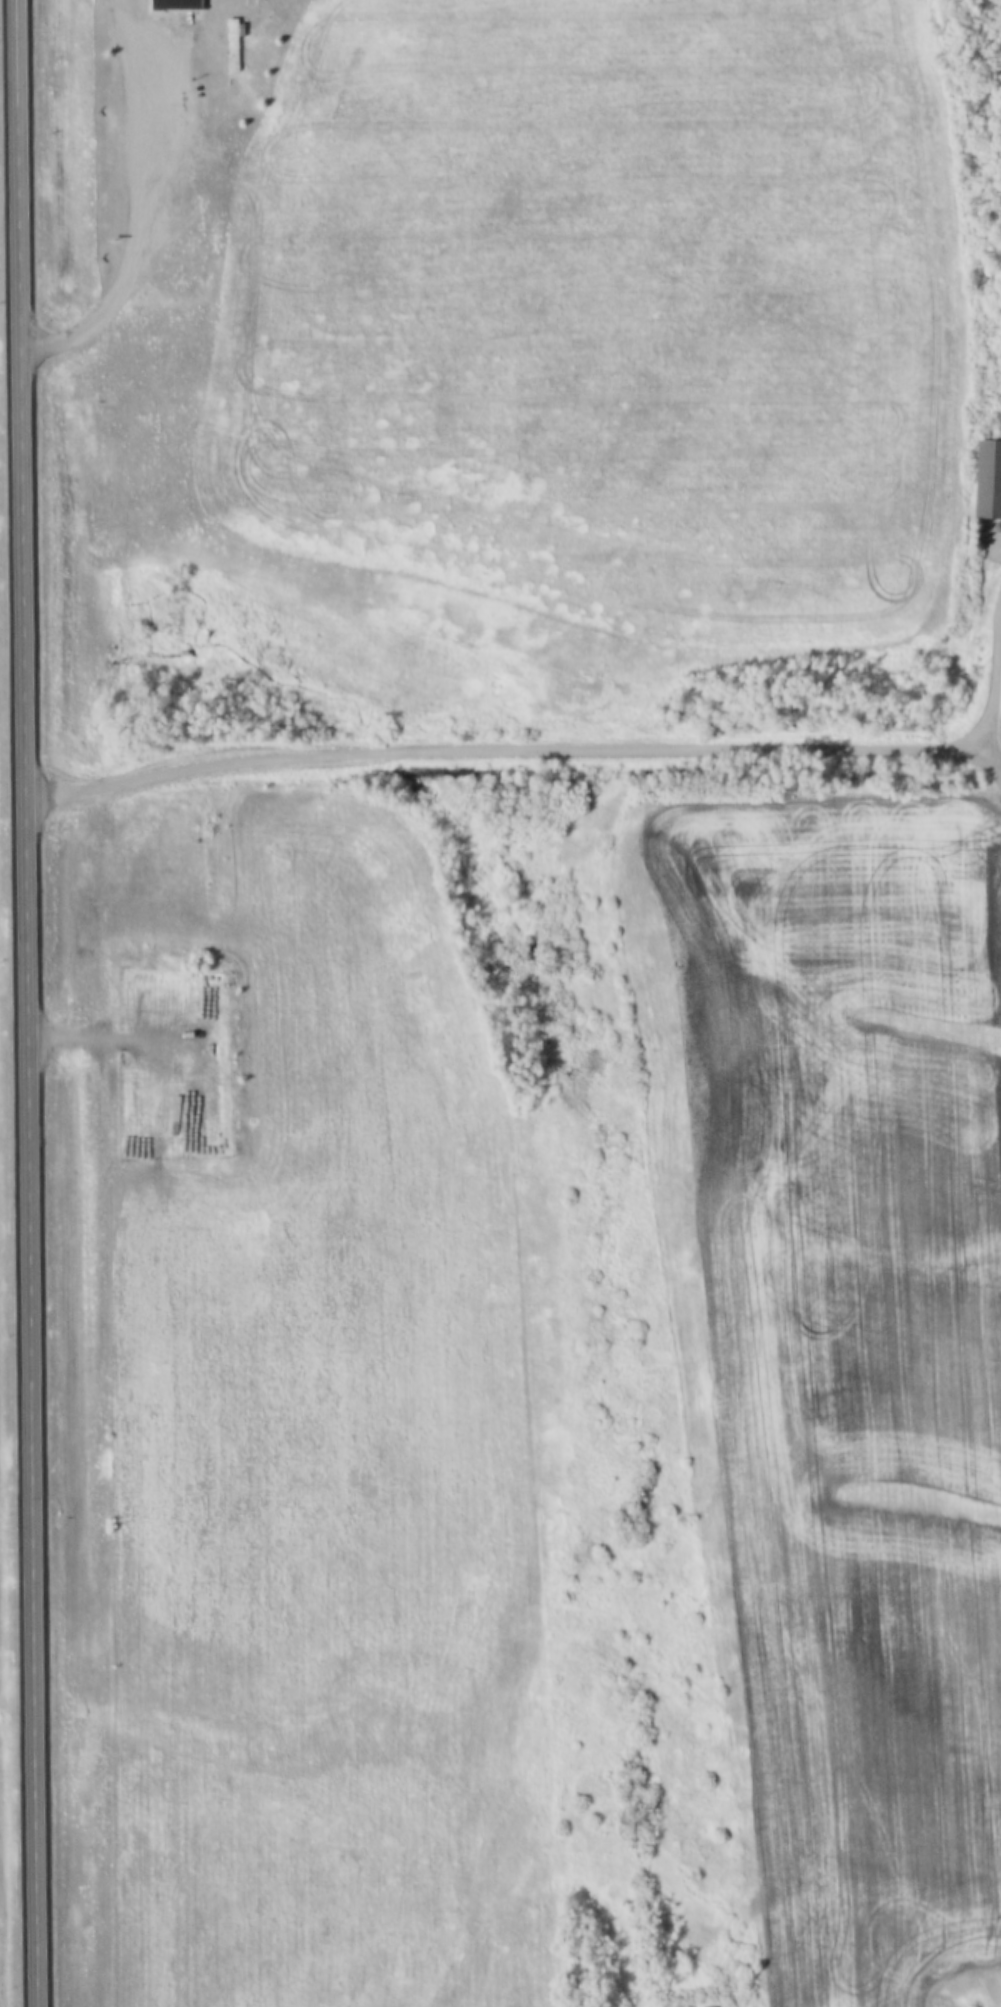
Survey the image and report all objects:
building: (179, 6)
building: (235, 45)
road: (127, 202)
road: (13, 236)
road: (559, 744)
road: (989, 748)
road: (25, 1239)

